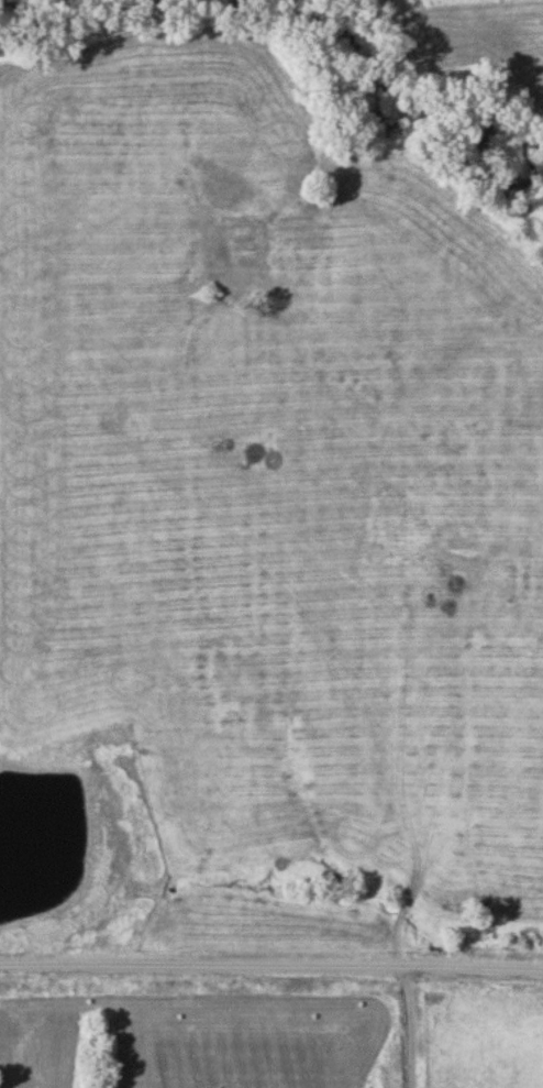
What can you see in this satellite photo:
road: (271, 967)
road: (414, 1027)

